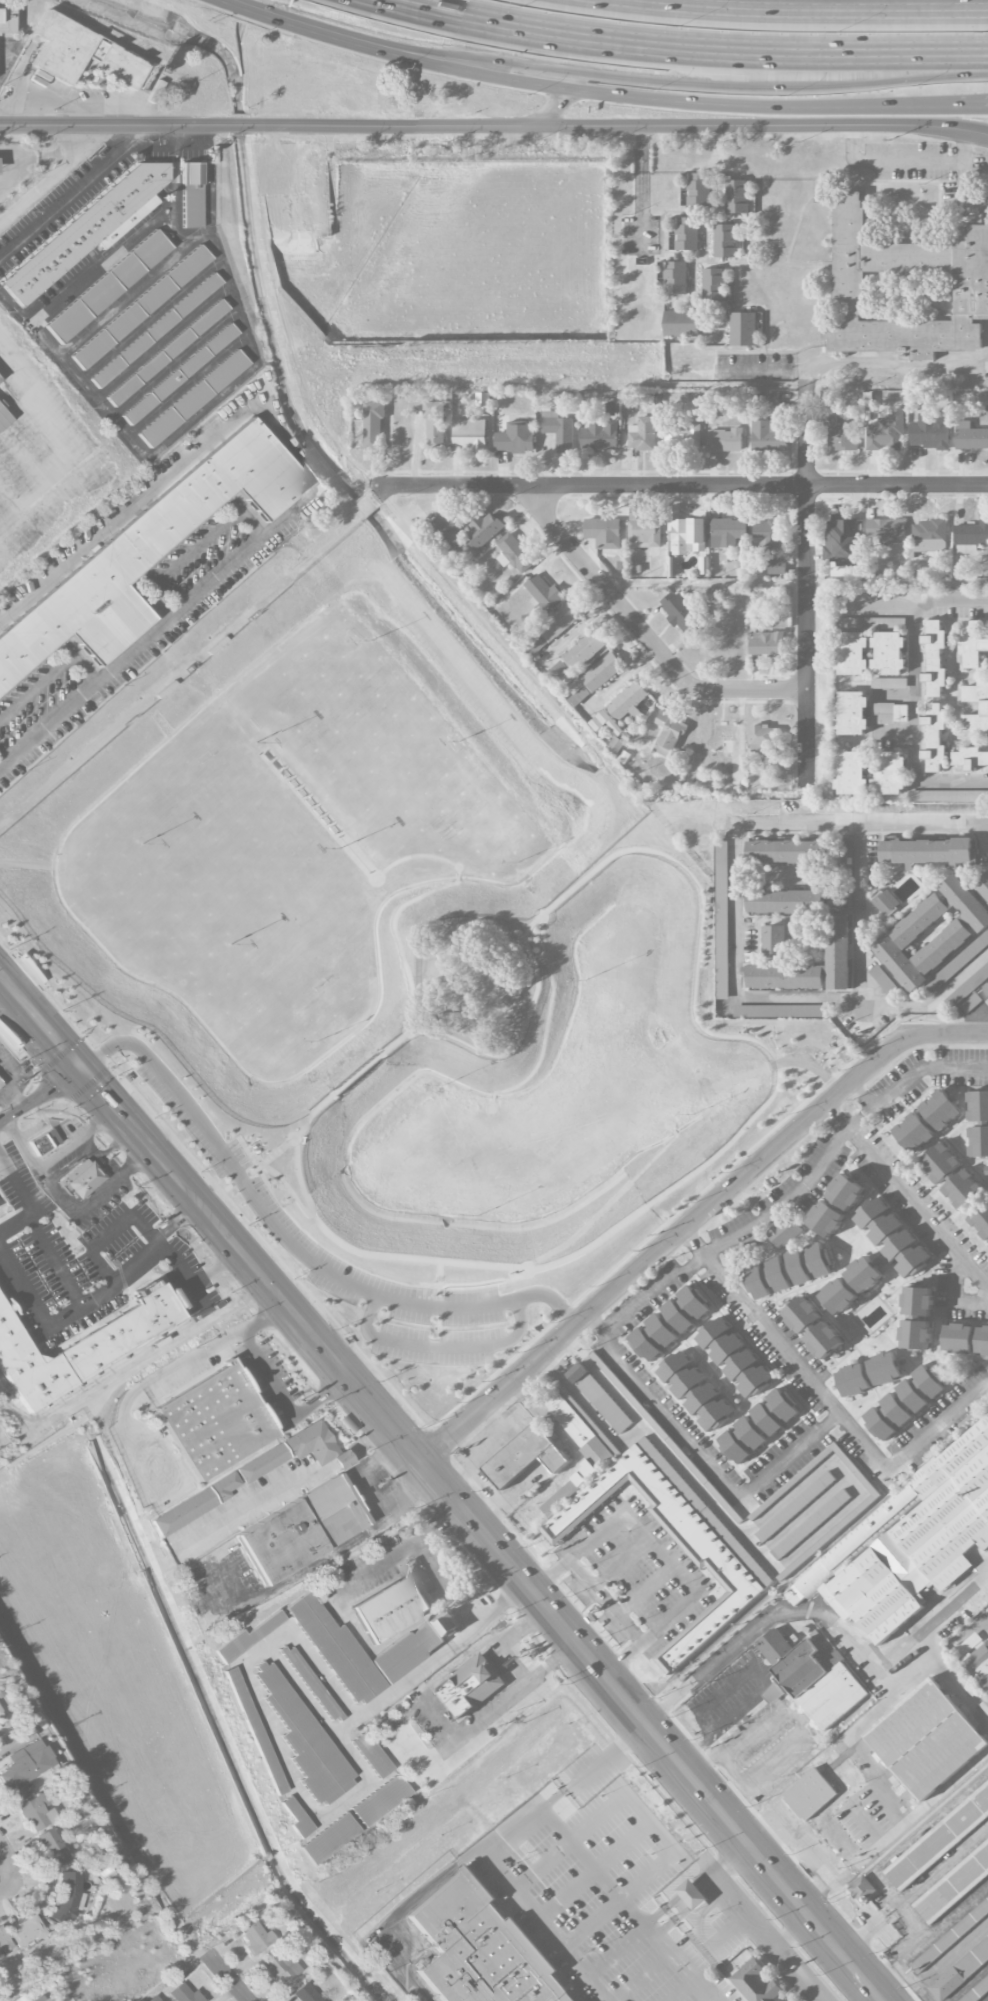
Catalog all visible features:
road: (801, 9)
road: (309, 26)
road: (692, 46)
building: (81, 54)
road: (686, 83)
road: (670, 101)
road: (555, 107)
road: (974, 110)
road: (494, 126)
road: (32, 159)
road: (890, 161)
road: (963, 178)
road: (48, 179)
road: (640, 182)
building: (699, 189)
road: (71, 195)
building: (190, 195)
building: (737, 195)
building: (976, 219)
building: (88, 229)
building: (686, 233)
building: (725, 240)
building: (675, 277)
building: (713, 284)
building: (107, 286)
building: (906, 289)
road: (125, 296)
building: (140, 307)
road: (150, 318)
building: (680, 323)
building: (743, 328)
building: (156, 329)
road: (162, 341)
building: (167, 352)
road: (174, 362)
road: (896, 368)
road: (763, 371)
building: (179, 374)
road: (186, 384)
road: (46, 396)
building: (192, 397)
building: (483, 399)
building: (770, 399)
building: (3, 419)
building: (434, 424)
building: (373, 426)
building: (558, 430)
building: (838, 432)
building: (930, 432)
building: (886, 434)
building: (470, 435)
building: (642, 435)
building: (599, 436)
building: (768, 437)
building: (970, 437)
road: (166, 438)
building: (516, 438)
building: (683, 438)
building: (725, 440)
road: (310, 475)
road: (680, 485)
road: (47, 497)
building: (447, 529)
building: (485, 530)
building: (886, 530)
building: (643, 532)
building: (727, 532)
building: (604, 533)
building: (686, 534)
building: (766, 536)
building: (928, 536)
building: (971, 537)
building: (842, 542)
road: (194, 548)
building: (145, 552)
building: (514, 554)
building: (776, 567)
road: (806, 583)
building: (544, 594)
road: (878, 600)
building: (680, 612)
building: (553, 627)
road: (642, 634)
building: (767, 644)
building: (972, 644)
building: (584, 651)
building: (854, 653)
building: (889, 653)
building: (935, 656)
building: (602, 672)
road: (50, 675)
building: (890, 683)
road: (911, 685)
building: (624, 706)
building: (984, 708)
building: (853, 713)
building: (890, 713)
building: (668, 734)
building: (935, 737)
building: (765, 738)
building: (971, 757)
building: (853, 772)
building: (890, 772)
building: (954, 796)
building: (784, 851)
building: (925, 851)
building: (845, 864)
building: (983, 885)
building: (784, 901)
building: (886, 903)
road: (736, 904)
road: (861, 909)
building: (963, 930)
road: (396, 937)
building: (775, 940)
building: (722, 942)
building: (839, 952)
building: (957, 963)
park: (389, 968)
building: (783, 977)
building: (882, 980)
building: (986, 987)
building: (967, 988)
road: (14, 995)
building: (779, 1011)
road: (546, 1017)
road: (986, 1032)
road: (750, 1040)
road: (54, 1041)
road: (807, 1064)
traffic signals: (79, 1069)
road: (360, 1073)
building: (0, 1082)
road: (800, 1087)
road: (95, 1088)
road: (9, 1090)
road: (863, 1090)
road: (39, 1094)
building: (978, 1106)
building: (939, 1110)
road: (131, 1129)
building: (913, 1133)
road: (23, 1140)
building: (44, 1141)
building: (978, 1142)
road: (271, 1154)
road: (161, 1163)
building: (939, 1163)
building: (986, 1171)
building: (82, 1178)
road: (288, 1188)
road: (59, 1191)
road: (798, 1191)
building: (963, 1191)
building: (845, 1192)
road: (906, 1195)
building: (826, 1218)
road: (691, 1220)
parking lot: (278, 1222)
building: (980, 1222)
road: (14, 1224)
building: (785, 1233)
road: (222, 1235)
building: (892, 1238)
road: (570, 1239)
road: (286, 1243)
building: (788, 1271)
road: (194, 1283)
road: (438, 1284)
building: (851, 1285)
road: (33, 1299)
road: (75, 1299)
building: (918, 1301)
building: (802, 1314)
building: (669, 1323)
building: (915, 1334)
building: (965, 1339)
building: (824, 1340)
building: (84, 1344)
road: (440, 1347)
building: (734, 1357)
building: (868, 1374)
road: (160, 1378)
building: (695, 1391)
building: (599, 1398)
road: (282, 1400)
road: (826, 1400)
building: (903, 1402)
building: (215, 1420)
building: (758, 1425)
road: (487, 1437)
road: (15, 1444)
building: (295, 1452)
road: (700, 1455)
building: (523, 1456)
road: (358, 1471)
road: (482, 1483)
road: (288, 1491)
building: (193, 1505)
building: (794, 1508)
building: (300, 1529)
building: (702, 1535)
road: (423, 1537)
building: (908, 1542)
road: (660, 1551)
road: (328, 1554)
building: (391, 1607)
road: (931, 1620)
building: (446, 1623)
road: (987, 1625)
road: (836, 1627)
building: (247, 1636)
road: (576, 1647)
building: (360, 1650)
road: (505, 1653)
road: (274, 1655)
road: (564, 1655)
building: (979, 1663)
road: (945, 1674)
building: (811, 1677)
building: (311, 1683)
road: (763, 1683)
building: (469, 1686)
building: (1, 1718)
road: (793, 1720)
building: (254, 1729)
building: (303, 1737)
building: (926, 1739)
building: (371, 1754)
road: (608, 1754)
building: (23, 1769)
road: (555, 1794)
building: (809, 1794)
building: (380, 1800)
building: (36, 1811)
building: (294, 1816)
road: (651, 1821)
road: (794, 1833)
building: (328, 1838)
building: (939, 1839)
road: (881, 1841)
building: (53, 1847)
road: (8, 1860)
road: (719, 1860)
road: (943, 1868)
road: (593, 1869)
road: (596, 1870)
road: (728, 1872)
building: (953, 1885)
road: (687, 1888)
building: (862, 1890)
road: (826, 1892)
building: (692, 1895)
building: (67, 1897)
road: (697, 1899)
road: (524, 1900)
road: (745, 1917)
road: (940, 1925)
road: (647, 1931)
road: (871, 1931)
building: (28, 1932)
road: (792, 1935)
building: (949, 1935)
building: (254, 1937)
building: (4, 1943)
building: (480, 1949)
road: (681, 1965)
building: (280, 1967)
building: (959, 1969)
road: (798, 1975)
road: (228, 1978)
building: (756, 1982)
building: (974, 1990)
building: (305, 1993)
building: (185, 1994)
building: (154, 1999)
road: (877, 2000)

